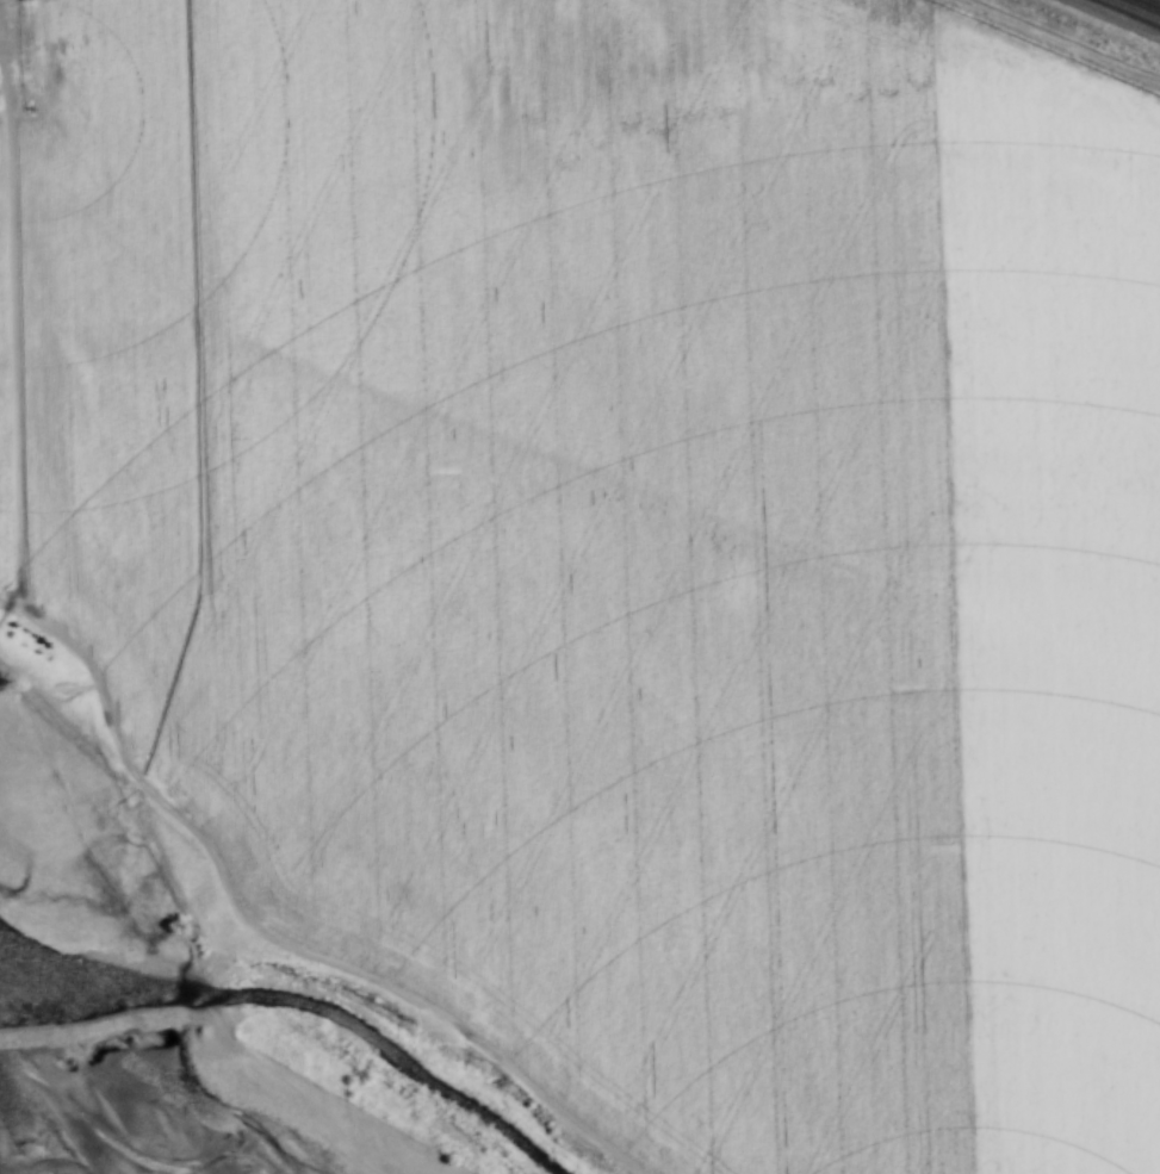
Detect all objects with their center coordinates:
railway: (1156, 1)
railway: (1136, 10)
building: (838, 570)
river: (108, 1111)

